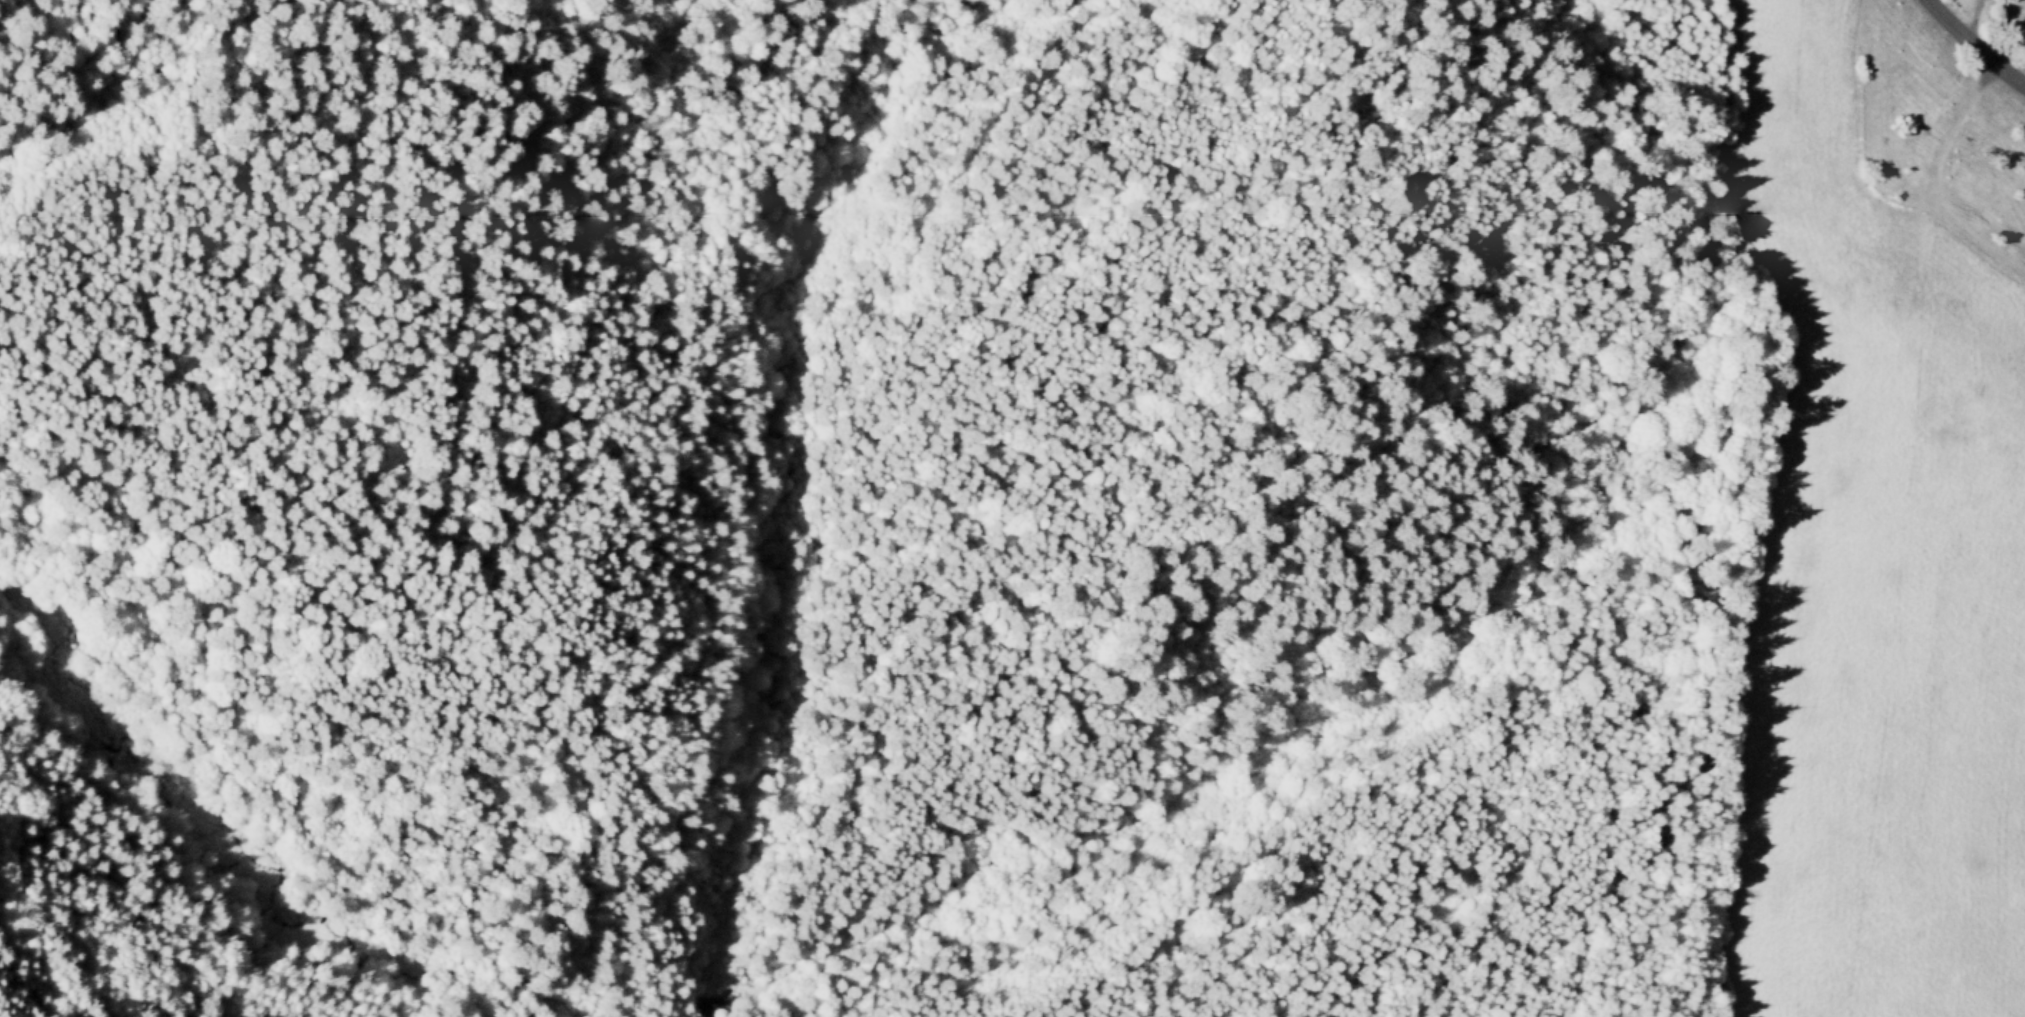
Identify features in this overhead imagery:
road: (1974, 45)
road: (1940, 147)
crop: (1874, 577)

